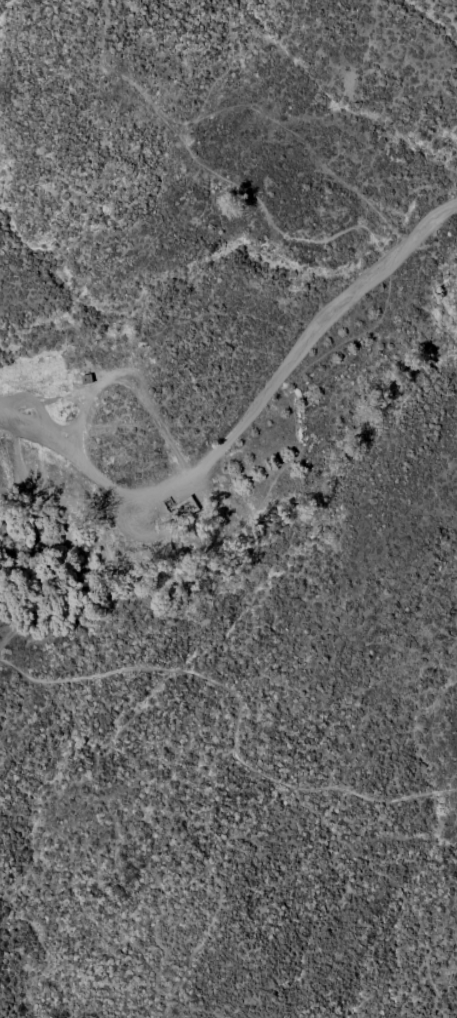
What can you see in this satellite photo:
road: (301, 355)
road: (68, 457)
road: (70, 507)
road: (236, 720)

